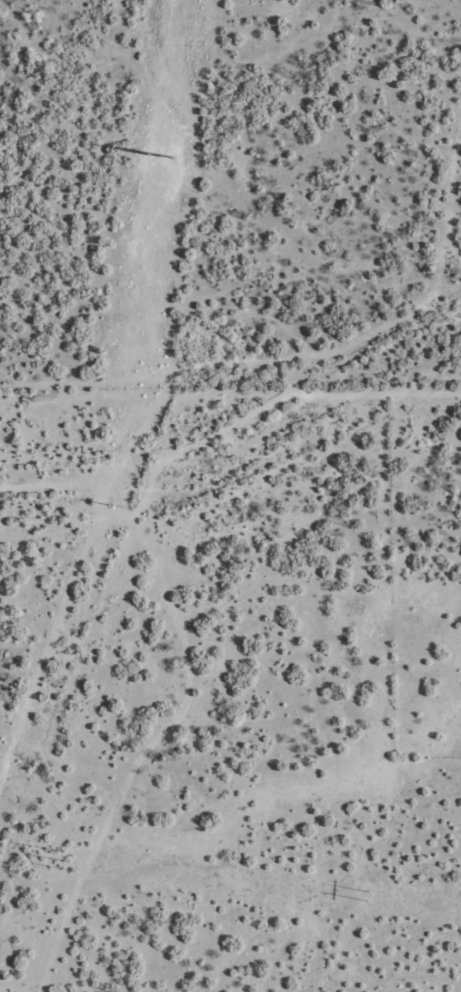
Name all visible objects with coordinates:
power tower: (157, 150)
road: (125, 495)
power tower: (112, 505)
power tower: (68, 860)
power tower: (368, 894)

